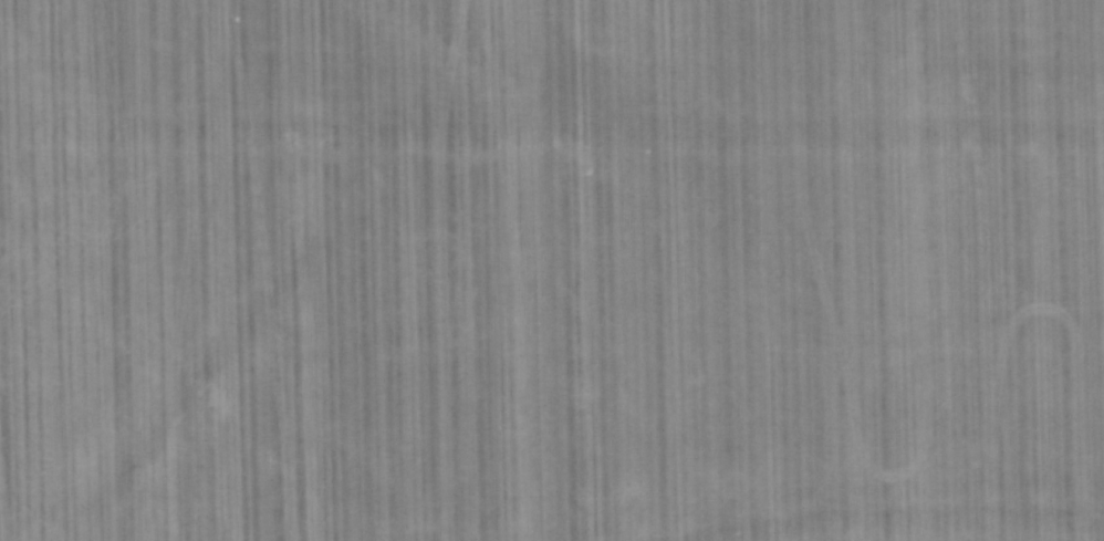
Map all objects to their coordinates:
crop: (552, 270)

